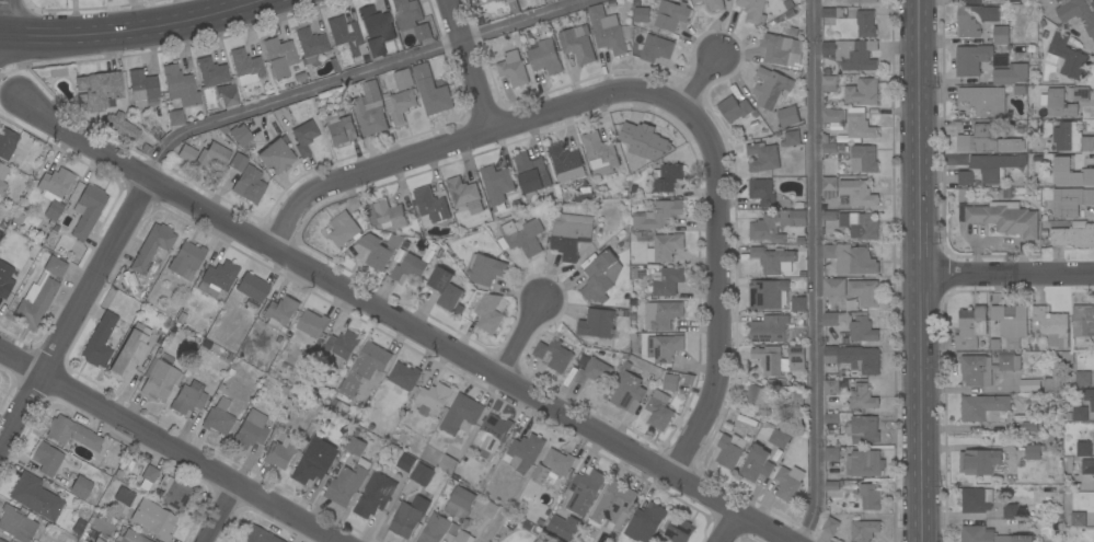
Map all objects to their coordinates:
building: (863, 1)
building: (1015, 1)
building: (974, 2)
building: (712, 4)
building: (513, 7)
building: (752, 10)
road: (1, 12)
building: (833, 12)
building: (1078, 12)
building: (642, 15)
building: (671, 15)
building: (411, 18)
building: (970, 20)
building: (866, 24)
building: (376, 30)
building: (607, 32)
road: (131, 34)
building: (1000, 35)
building: (344, 38)
building: (577, 44)
building: (310, 46)
building: (656, 48)
building: (782, 48)
building: (851, 54)
building: (279, 57)
building: (545, 57)
building: (1067, 57)
building: (971, 59)
road: (463, 65)
building: (245, 67)
building: (513, 69)
road: (9, 71)
building: (422, 71)
building: (211, 72)
road: (356, 74)
building: (1002, 77)
building: (404, 79)
road: (696, 81)
building: (829, 83)
building: (180, 85)
building: (141, 88)
building: (770, 88)
building: (101, 89)
building: (863, 92)
building: (1079, 93)
building: (227, 94)
building: (437, 95)
building: (983, 100)
building: (400, 104)
building: (1059, 104)
building: (734, 108)
building: (370, 109)
building: (833, 115)
building: (788, 116)
building: (174, 117)
building: (860, 124)
building: (120, 125)
building: (339, 129)
building: (239, 135)
building: (303, 137)
road: (458, 138)
building: (792, 138)
building: (1071, 138)
building: (987, 140)
building: (642, 142)
building: (7, 143)
building: (828, 146)
building: (185, 153)
building: (600, 154)
building: (214, 155)
building: (275, 157)
building: (762, 157)
building: (864, 159)
building: (238, 162)
building: (566, 163)
building: (995, 165)
building: (1070, 173)
building: (531, 175)
building: (2, 176)
building: (966, 177)
building: (667, 178)
building: (249, 184)
building: (496, 184)
building: (829, 187)
building: (857, 191)
building: (54, 192)
building: (762, 193)
building: (584, 194)
building: (464, 195)
building: (1071, 201)
building: (430, 207)
building: (87, 210)
building: (658, 215)
building: (387, 216)
building: (1005, 218)
building: (775, 224)
building: (860, 224)
building: (344, 229)
building: (571, 234)
building: (522, 235)
building: (1074, 235)
building: (664, 247)
building: (152, 250)
building: (379, 250)
building: (851, 258)
building: (774, 260)
building: (185, 261)
building: (55, 267)
building: (410, 268)
building: (485, 269)
road: (808, 270)
road: (920, 270)
road: (1007, 273)
building: (601, 277)
building: (217, 278)
building: (4, 279)
building: (666, 280)
building: (252, 287)
building: (833, 287)
building: (445, 288)
road: (715, 292)
building: (864, 292)
building: (768, 295)
building: (798, 303)
building: (35, 304)
road: (71, 312)
building: (279, 312)
building: (490, 313)
building: (665, 315)
building: (1082, 321)
building: (597, 323)
building: (312, 324)
building: (852, 324)
building: (1011, 324)
road: (398, 325)
building: (1052, 326)
building: (970, 327)
building: (769, 328)
road: (514, 338)
building: (99, 341)
building: (993, 344)
building: (341, 347)
building: (664, 347)
building: (128, 354)
building: (554, 355)
building: (795, 357)
building: (1067, 357)
building: (768, 359)
building: (365, 367)
building: (865, 368)
building: (986, 368)
building: (592, 371)
building: (159, 377)
building: (403, 378)
building: (1082, 379)
building: (670, 382)
building: (1052, 385)
building: (629, 392)
building: (1089, 396)
building: (188, 397)
building: (862, 397)
building: (433, 400)
building: (760, 400)
building: (794, 401)
building: (983, 407)
building: (659, 411)
building: (1050, 411)
building: (461, 414)
building: (1080, 414)
building: (218, 417)
building: (830, 418)
building: (1029, 426)
building: (864, 429)
building: (250, 430)
building: (70, 434)
building: (492, 436)
building: (780, 438)
building: (355, 446)
road: (166, 448)
building: (1083, 449)
building: (729, 450)
building: (1034, 451)
building: (525, 452)
building: (280, 453)
building: (831, 454)
building: (46, 459)
building: (979, 461)
building: (405, 462)
building: (864, 463)
building: (447, 464)
building: (757, 464)
building: (553, 466)
building: (1082, 466)
building: (311, 470)
building: (422, 474)
building: (146, 477)
building: (347, 483)
building: (786, 485)
building: (831, 485)
building: (80, 487)
building: (585, 491)
building: (174, 494)
building: (375, 495)
building: (35, 496)
building: (123, 496)
building: (870, 496)
building: (462, 498)
building: (976, 499)
building: (613, 505)
building: (491, 510)
building: (1011, 511)
road: (217, 514)
building: (408, 516)
building: (152, 519)
building: (1078, 519)
building: (646, 522)
building: (16, 523)
building: (830, 526)
building: (564, 527)
road: (725, 528)
building: (435, 529)
building: (679, 530)
building: (864, 530)
building: (257, 535)
building: (989, 535)
building: (131, 537)
building: (463, 538)
building: (1, 541)

